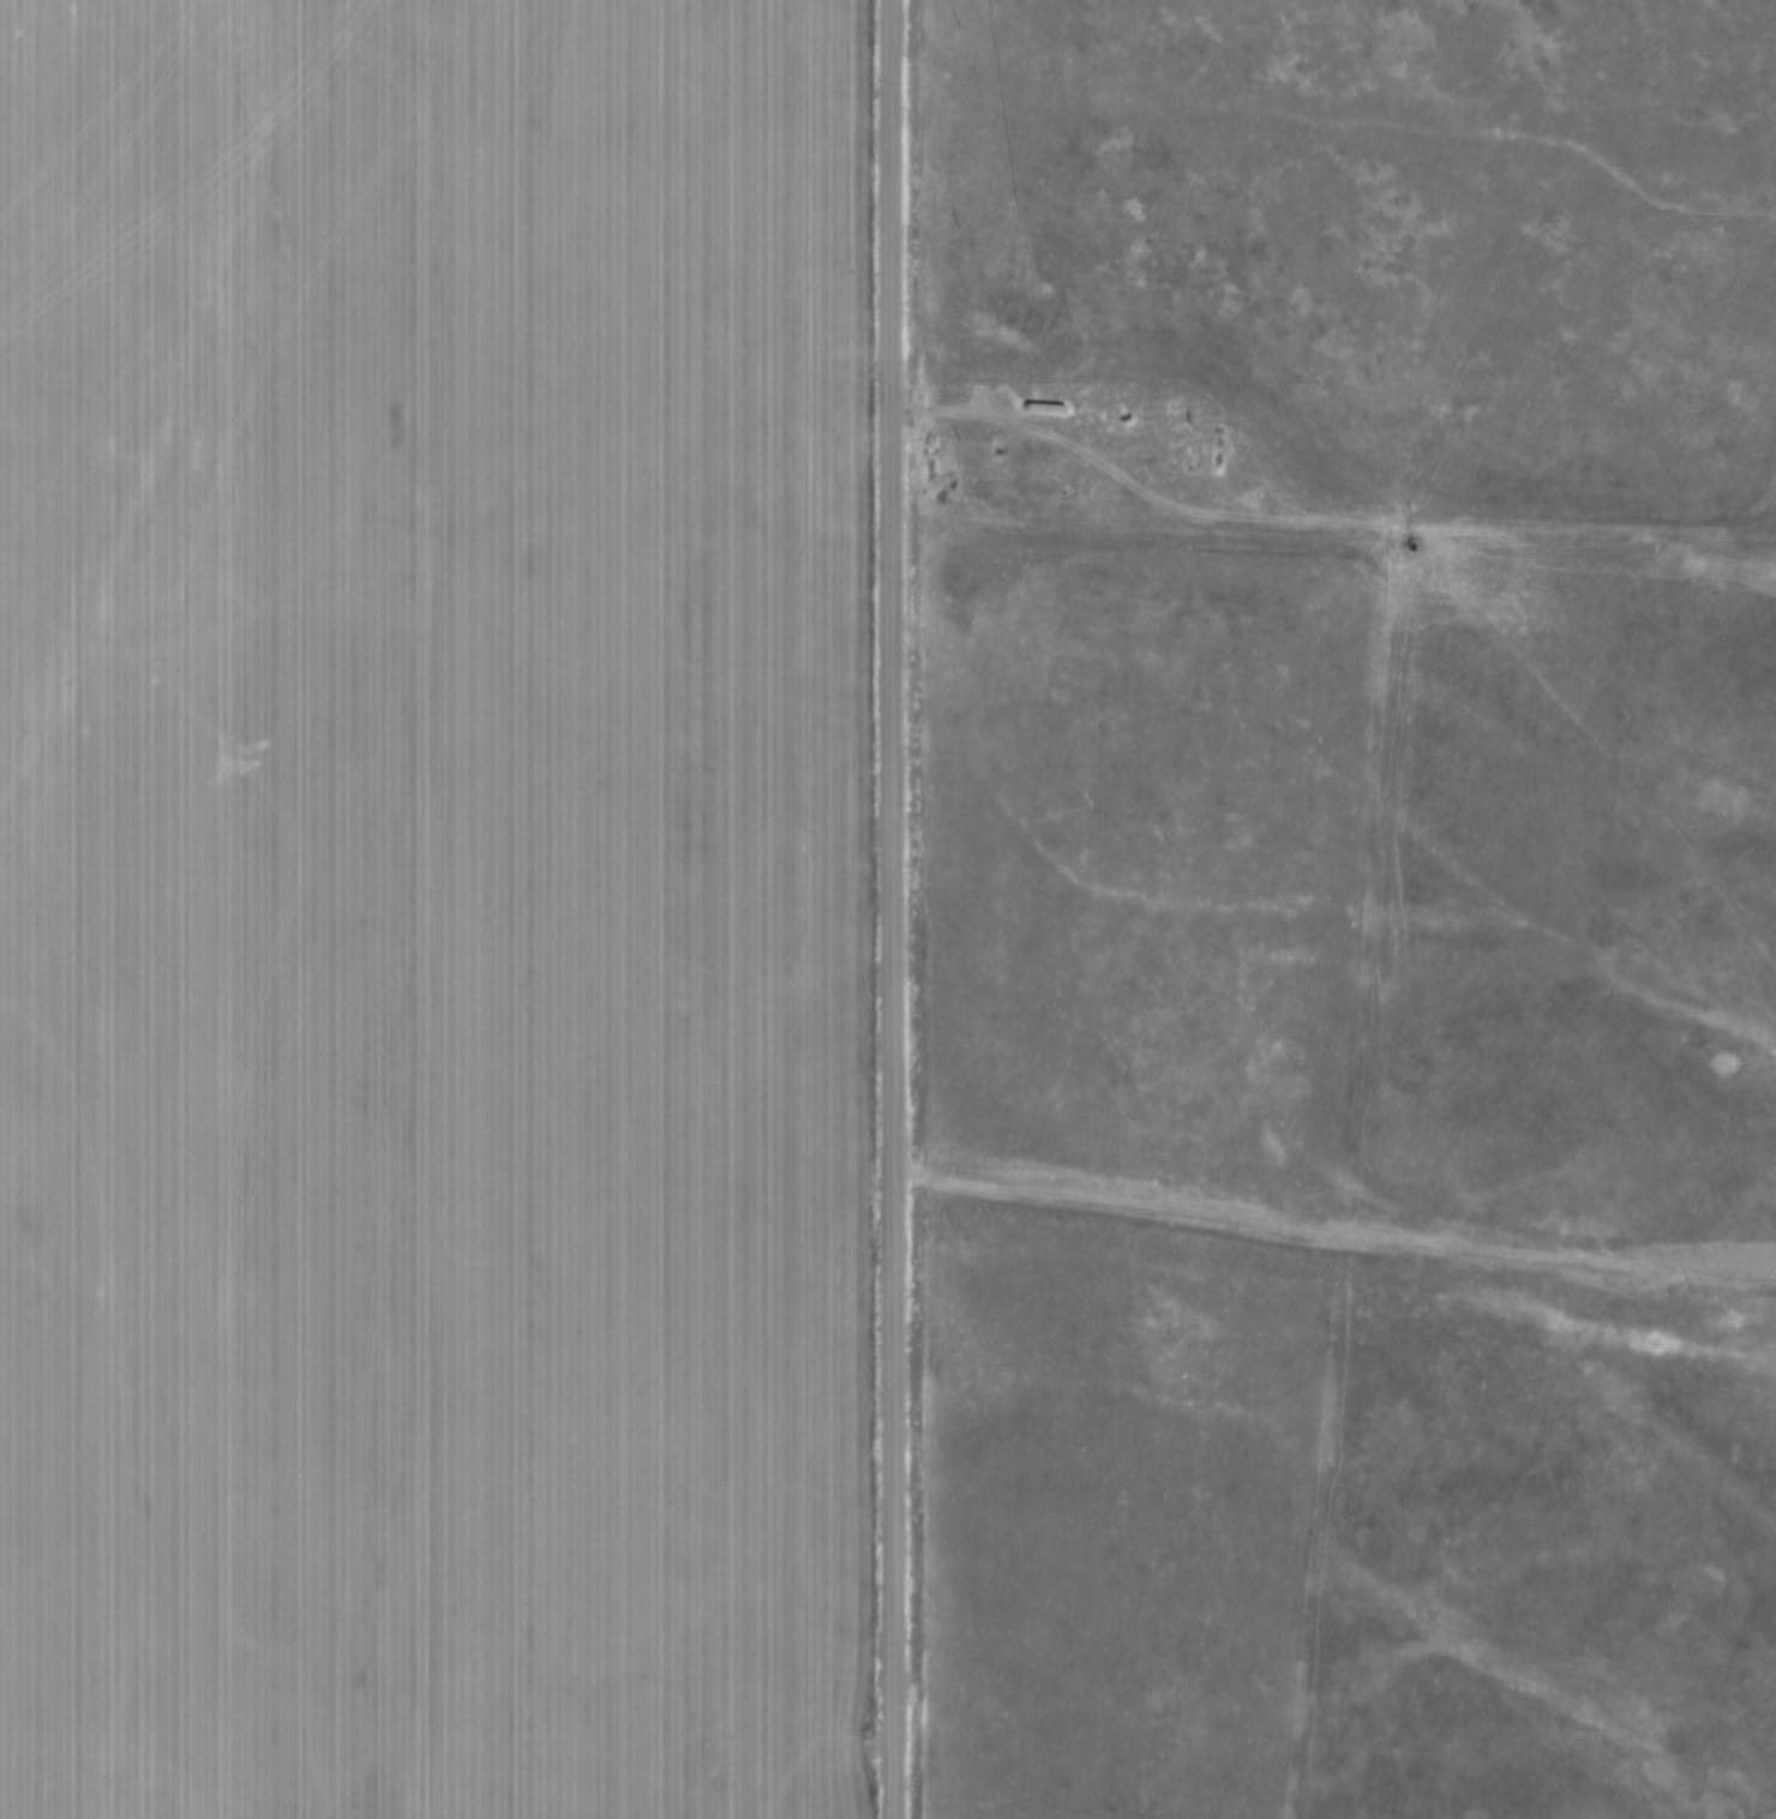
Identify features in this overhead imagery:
road: (894, 909)

